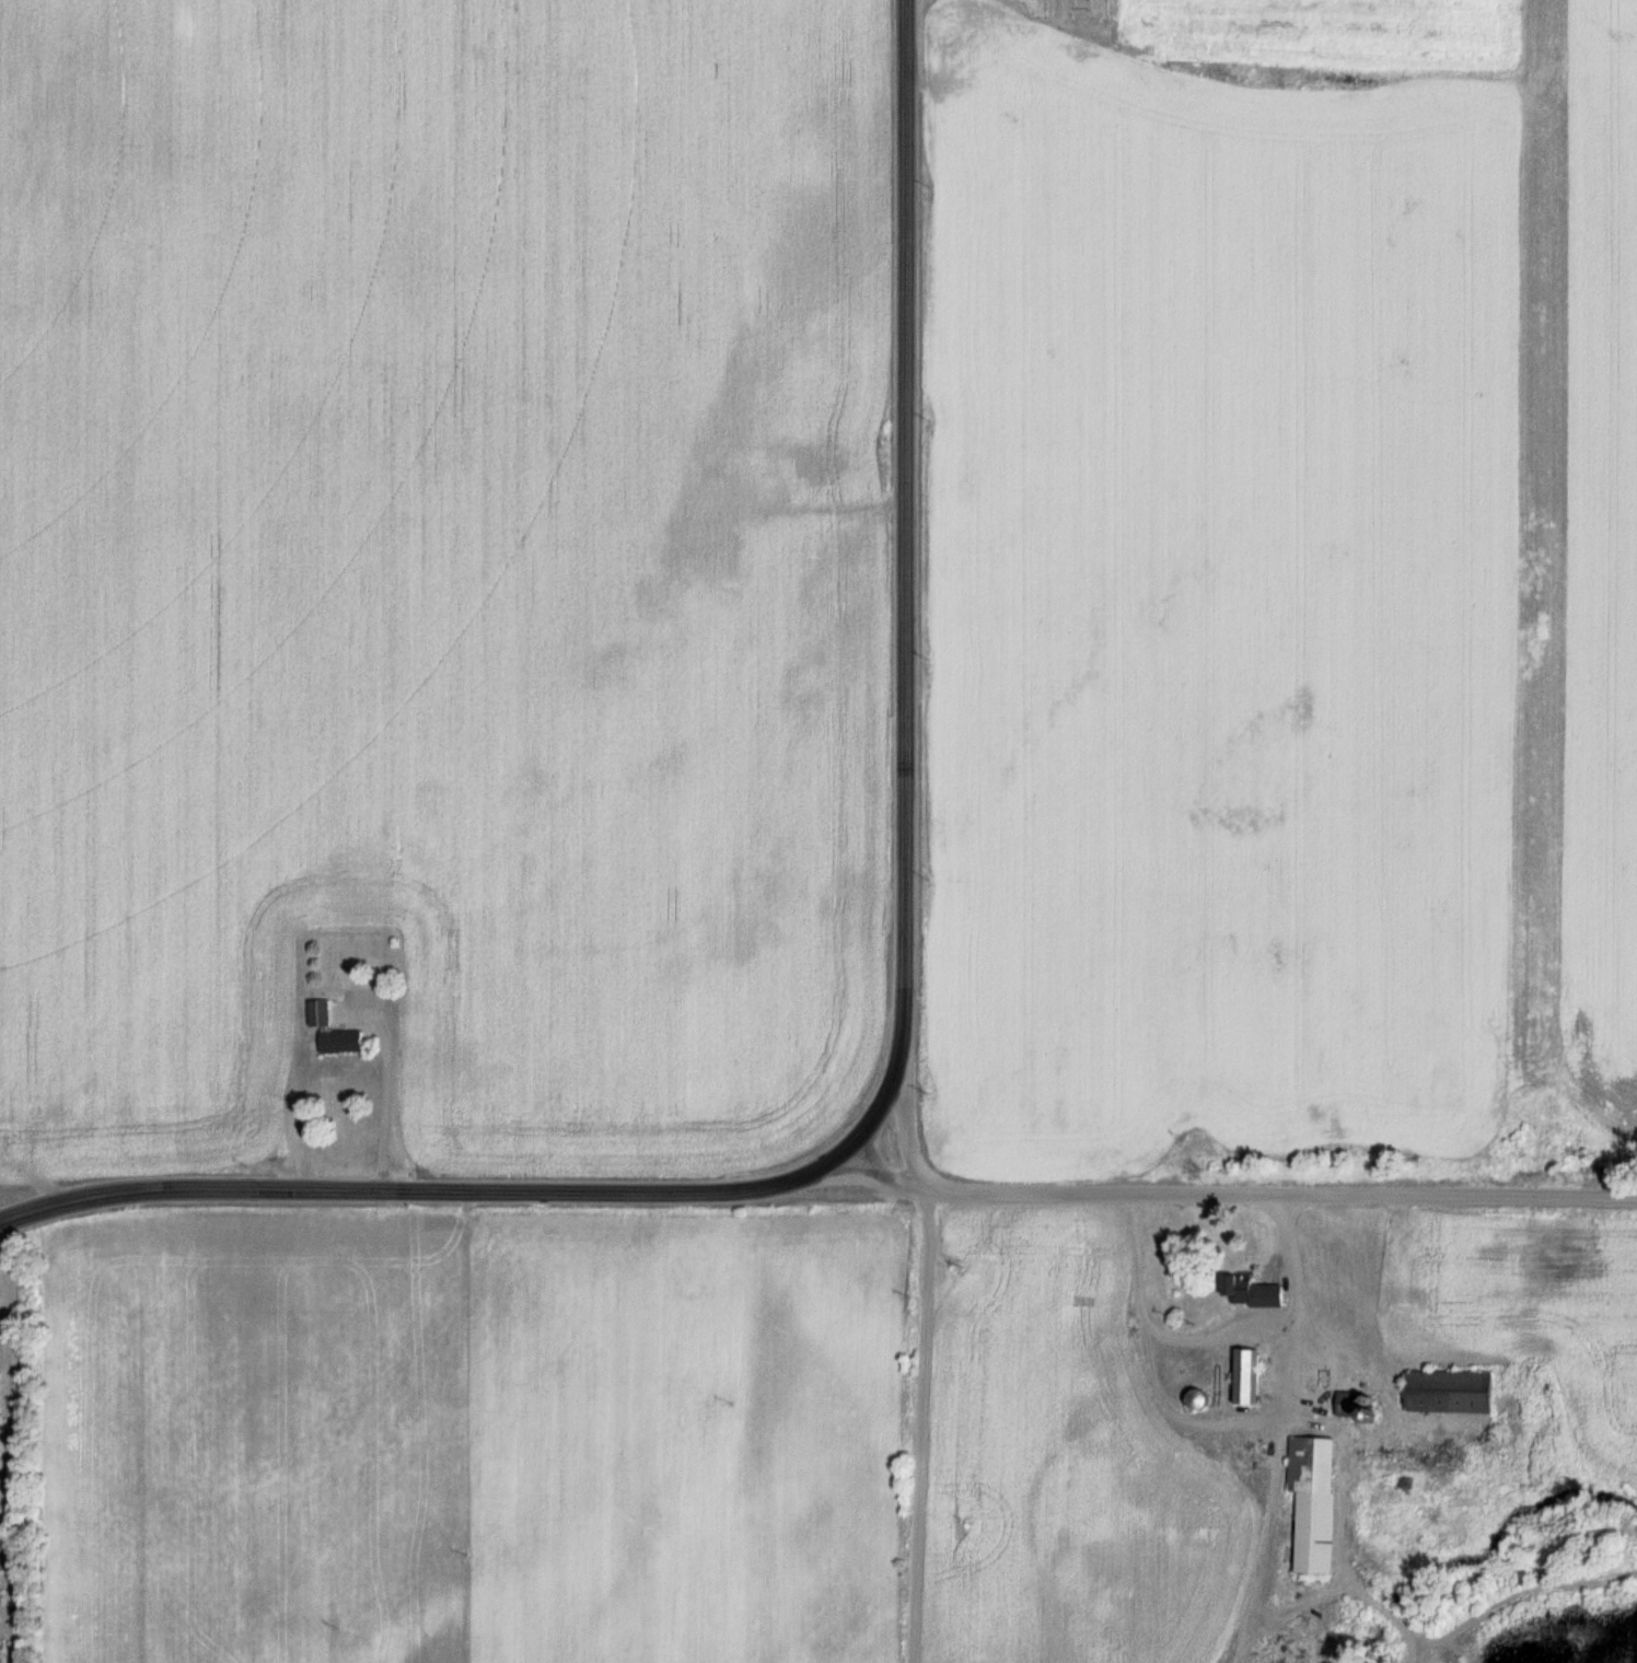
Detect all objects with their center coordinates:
road: (905, 582)
building: (320, 1013)
building: (341, 1040)
road: (382, 1093)
road: (901, 1131)
road: (429, 1188)
road: (1239, 1190)
road: (1291, 1253)
building: (1251, 1291)
road: (1324, 1354)
building: (1111, 1368)
building: (1166, 1368)
building: (1196, 1368)
building: (1246, 1376)
building: (1449, 1392)
building: (1197, 1399)
building: (1348, 1404)
road: (919, 1424)
building: (1313, 1502)

